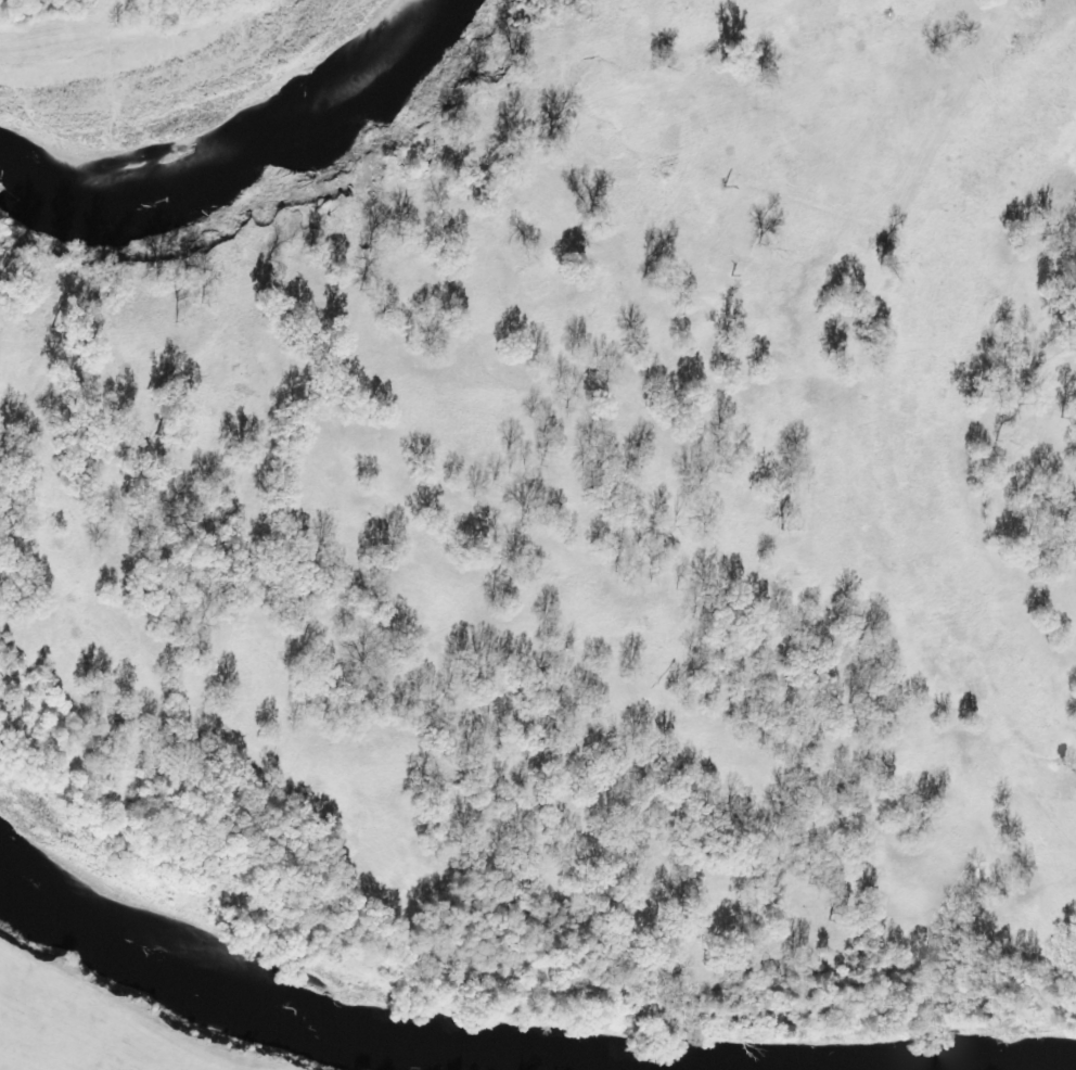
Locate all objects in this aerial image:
river: (215, 123)
river: (269, 995)
river: (1063, 1069)

